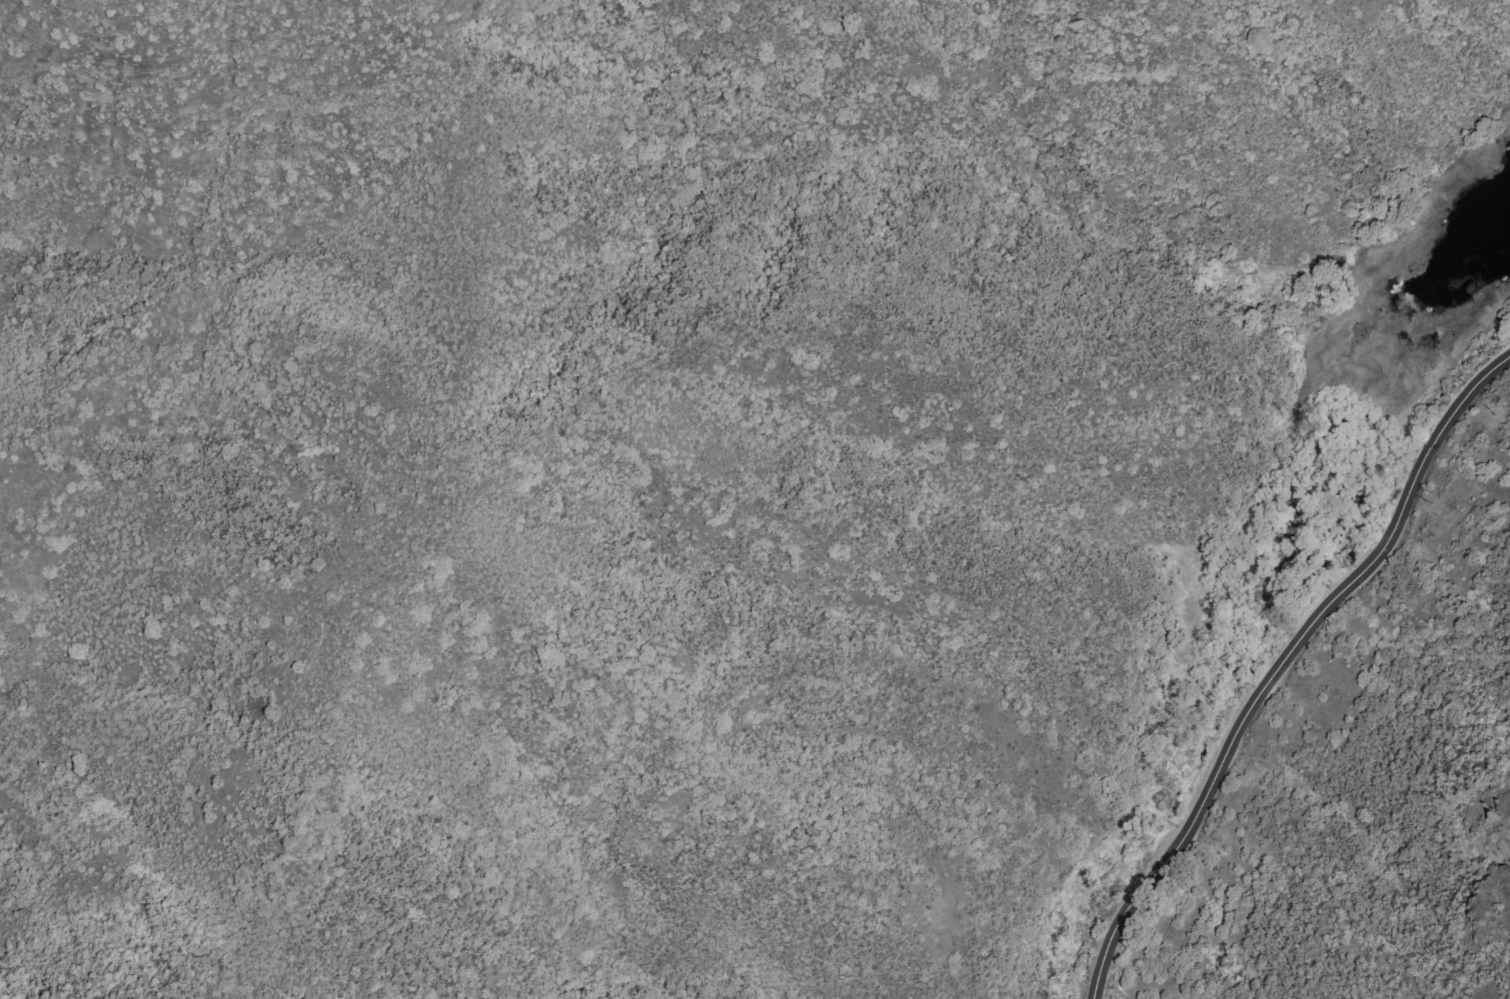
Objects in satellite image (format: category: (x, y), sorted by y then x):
road: (1282, 665)

